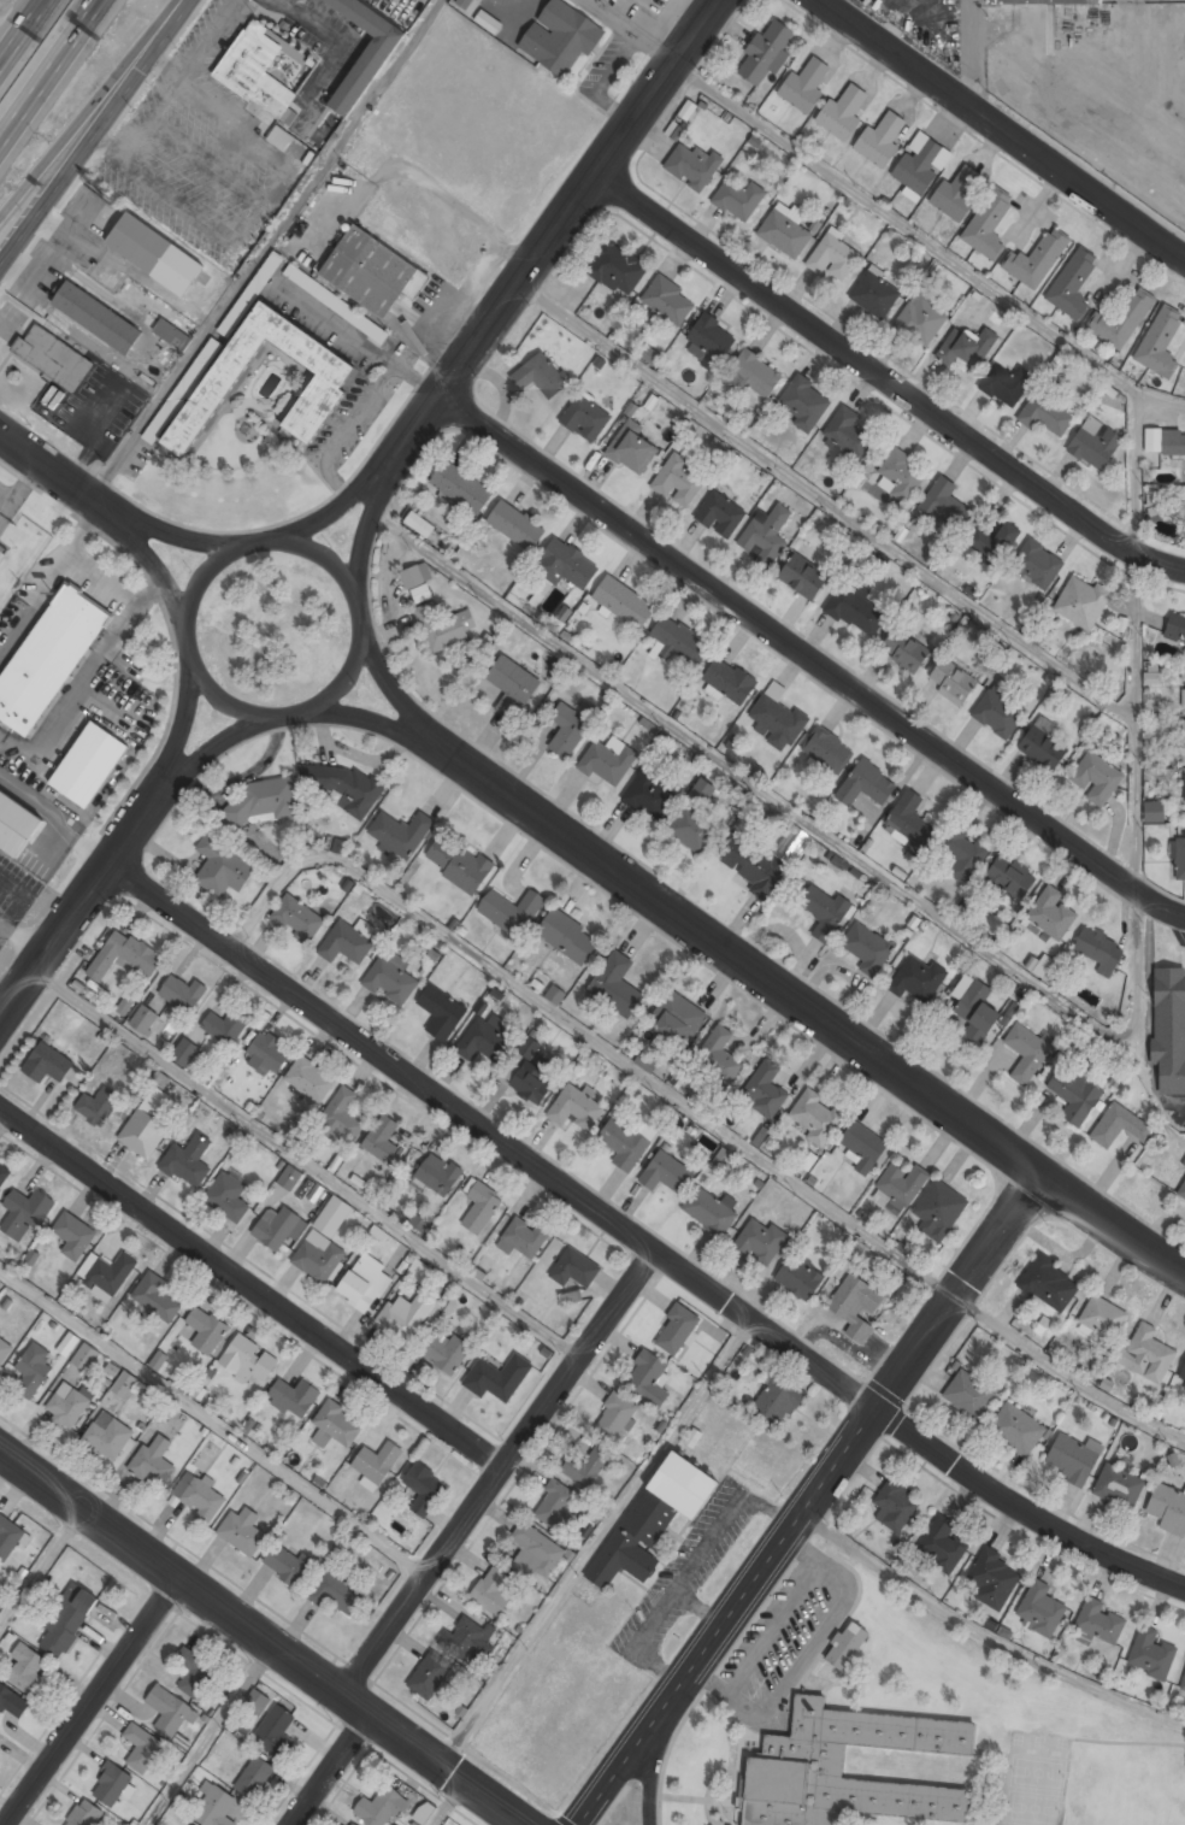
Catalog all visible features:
building: (295, 0)
building: (1044, 1)
building: (464, 4)
building: (488, 22)
road: (25, 36)
building: (566, 37)
building: (364, 52)
building: (766, 52)
building: (254, 72)
road: (51, 76)
building: (804, 86)
road: (88, 111)
building: (843, 112)
road: (1003, 131)
road: (99, 136)
building: (882, 137)
building: (291, 146)
building: (921, 164)
building: (692, 166)
building: (959, 192)
road: (583, 199)
building: (738, 199)
building: (988, 225)
building: (785, 234)
road: (927, 243)
building: (154, 254)
building: (833, 257)
building: (1037, 259)
building: (614, 269)
building: (266, 272)
building: (371, 272)
building: (1072, 284)
building: (876, 294)
building: (668, 302)
building: (96, 318)
building: (921, 319)
building: (1121, 320)
building: (170, 337)
road: (356, 338)
building: (709, 342)
building: (1160, 342)
building: (967, 346)
building: (52, 358)
building: (541, 375)
building: (754, 375)
road: (891, 382)
building: (1006, 383)
building: (182, 390)
building: (318, 400)
building: (804, 402)
building: (1045, 413)
road: (421, 416)
building: (585, 418)
road: (342, 426)
building: (848, 432)
building: (1165, 441)
building: (1095, 442)
building: (631, 447)
road: (51, 470)
building: (901, 473)
road: (1136, 475)
building: (679, 481)
building: (460, 487)
road: (829, 504)
building: (945, 504)
building: (720, 514)
building: (1157, 514)
building: (419, 524)
building: (517, 526)
building: (765, 534)
building: (995, 540)
building: (1037, 564)
building: (568, 565)
road: (332, 567)
road: (207, 571)
building: (415, 575)
building: (803, 576)
building: (1081, 601)
building: (623, 602)
building: (855, 610)
building: (446, 626)
building: (1175, 628)
building: (679, 643)
building: (1184, 649)
building: (906, 650)
building: (48, 658)
road: (810, 663)
road: (348, 669)
building: (730, 679)
building: (953, 682)
building: (512, 683)
building: (1183, 689)
road: (232, 705)
building: (998, 713)
building: (777, 717)
road: (1137, 725)
building: (567, 729)
building: (1183, 742)
building: (1043, 748)
building: (827, 750)
building: (609, 760)
building: (88, 765)
building: (1097, 778)
building: (866, 785)
building: (346, 788)
building: (1184, 789)
building: (650, 794)
building: (263, 801)
building: (1154, 812)
road: (803, 816)
building: (912, 820)
building: (17, 822)
building: (692, 829)
building: (400, 832)
building: (783, 853)
building: (963, 854)
building: (1179, 858)
building: (459, 863)
building: (753, 865)
building: (222, 867)
building: (1009, 878)
building: (511, 911)
building: (824, 911)
road: (76, 914)
building: (1051, 914)
building: (297, 918)
building: (567, 937)
building: (346, 944)
building: (867, 948)
building: (1099, 949)
building: (123, 955)
building: (1040, 964)
building: (918, 979)
building: (391, 981)
building: (617, 987)
building: (183, 994)
building: (555, 995)
building: (126, 1002)
building: (973, 1012)
building: (441, 1013)
road: (826, 1017)
building: (143, 1019)
building: (679, 1020)
building: (1169, 1025)
building: (225, 1026)
road: (584, 1031)
building: (482, 1041)
building: (185, 1052)
building: (269, 1053)
building: (1027, 1053)
building: (719, 1055)
building: (47, 1064)
building: (309, 1079)
building: (533, 1081)
building: (765, 1091)
building: (1075, 1095)
building: (96, 1105)
building: (576, 1108)
building: (342, 1118)
building: (816, 1118)
building: (147, 1120)
building: (1120, 1126)
building: (382, 1138)
building: (625, 1144)
building: (863, 1147)
building: (188, 1161)
road: (309, 1166)
building: (666, 1172)
building: (4, 1173)
building: (438, 1175)
building: (289, 1178)
building: (902, 1184)
building: (1181, 1190)
building: (228, 1197)
building: (481, 1207)
building: (709, 1209)
building: (939, 1209)
building: (24, 1214)
building: (331, 1217)
building: (278, 1229)
building: (73, 1235)
building: (523, 1238)
road: (641, 1238)
building: (759, 1242)
building: (319, 1258)
building: (573, 1267)
building: (420, 1272)
building: (110, 1274)
building: (800, 1278)
building: (1049, 1283)
building: (365, 1284)
building: (157, 1296)
building: (571, 1296)
road: (249, 1299)
building: (855, 1307)
building: (405, 1315)
building: (1103, 1317)
building: (677, 1329)
building: (207, 1331)
building: (67, 1343)
building: (5, 1350)
building: (447, 1352)
building: (1146, 1354)
building: (86, 1358)
building: (158, 1360)
building: (248, 1360)
building: (33, 1371)
building: (1183, 1372)
road: (1065, 1373)
building: (499, 1378)
building: (647, 1378)
building: (1183, 1382)
building: (123, 1384)
building: (969, 1394)
building: (294, 1397)
building: (777, 1401)
building: (67, 1405)
building: (615, 1417)
road: (214, 1424)
building: (336, 1425)
building: (1018, 1431)
building: (108, 1435)
road: (843, 1456)
building: (1073, 1459)
building: (152, 1461)
building: (377, 1464)
building: (586, 1466)
road: (503, 1471)
building: (1119, 1485)
building: (424, 1488)
building: (201, 1497)
building: (555, 1505)
building: (895, 1506)
building: (1168, 1508)
building: (653, 1518)
building: (242, 1530)
building: (8, 1536)
building: (943, 1546)
building: (536, 1552)
building: (289, 1564)
road: (43, 1568)
building: (994, 1579)
building: (337, 1593)
building: (491, 1593)
building: (1040, 1609)
building: (67, 1619)
building: (1101, 1620)
road: (267, 1635)
road: (985, 1635)
building: (465, 1639)
building: (847, 1646)
building: (1151, 1653)
building: (26, 1668)
building: (193, 1670)
building: (430, 1674)
building: (1183, 1685)
road: (93, 1700)
building: (258, 1700)
building: (11, 1701)
building: (170, 1711)
building: (275, 1730)
road: (214, 1733)
building: (141, 1747)
park: (1136, 1765)
building: (794, 1767)
road: (341, 1770)
building: (254, 1777)
road: (619, 1783)
building: (111, 1784)
road: (449, 1801)
building: (214, 1807)
building: (381, 1807)
building: (424, 1812)
building: (84, 1814)
building: (349, 1824)

